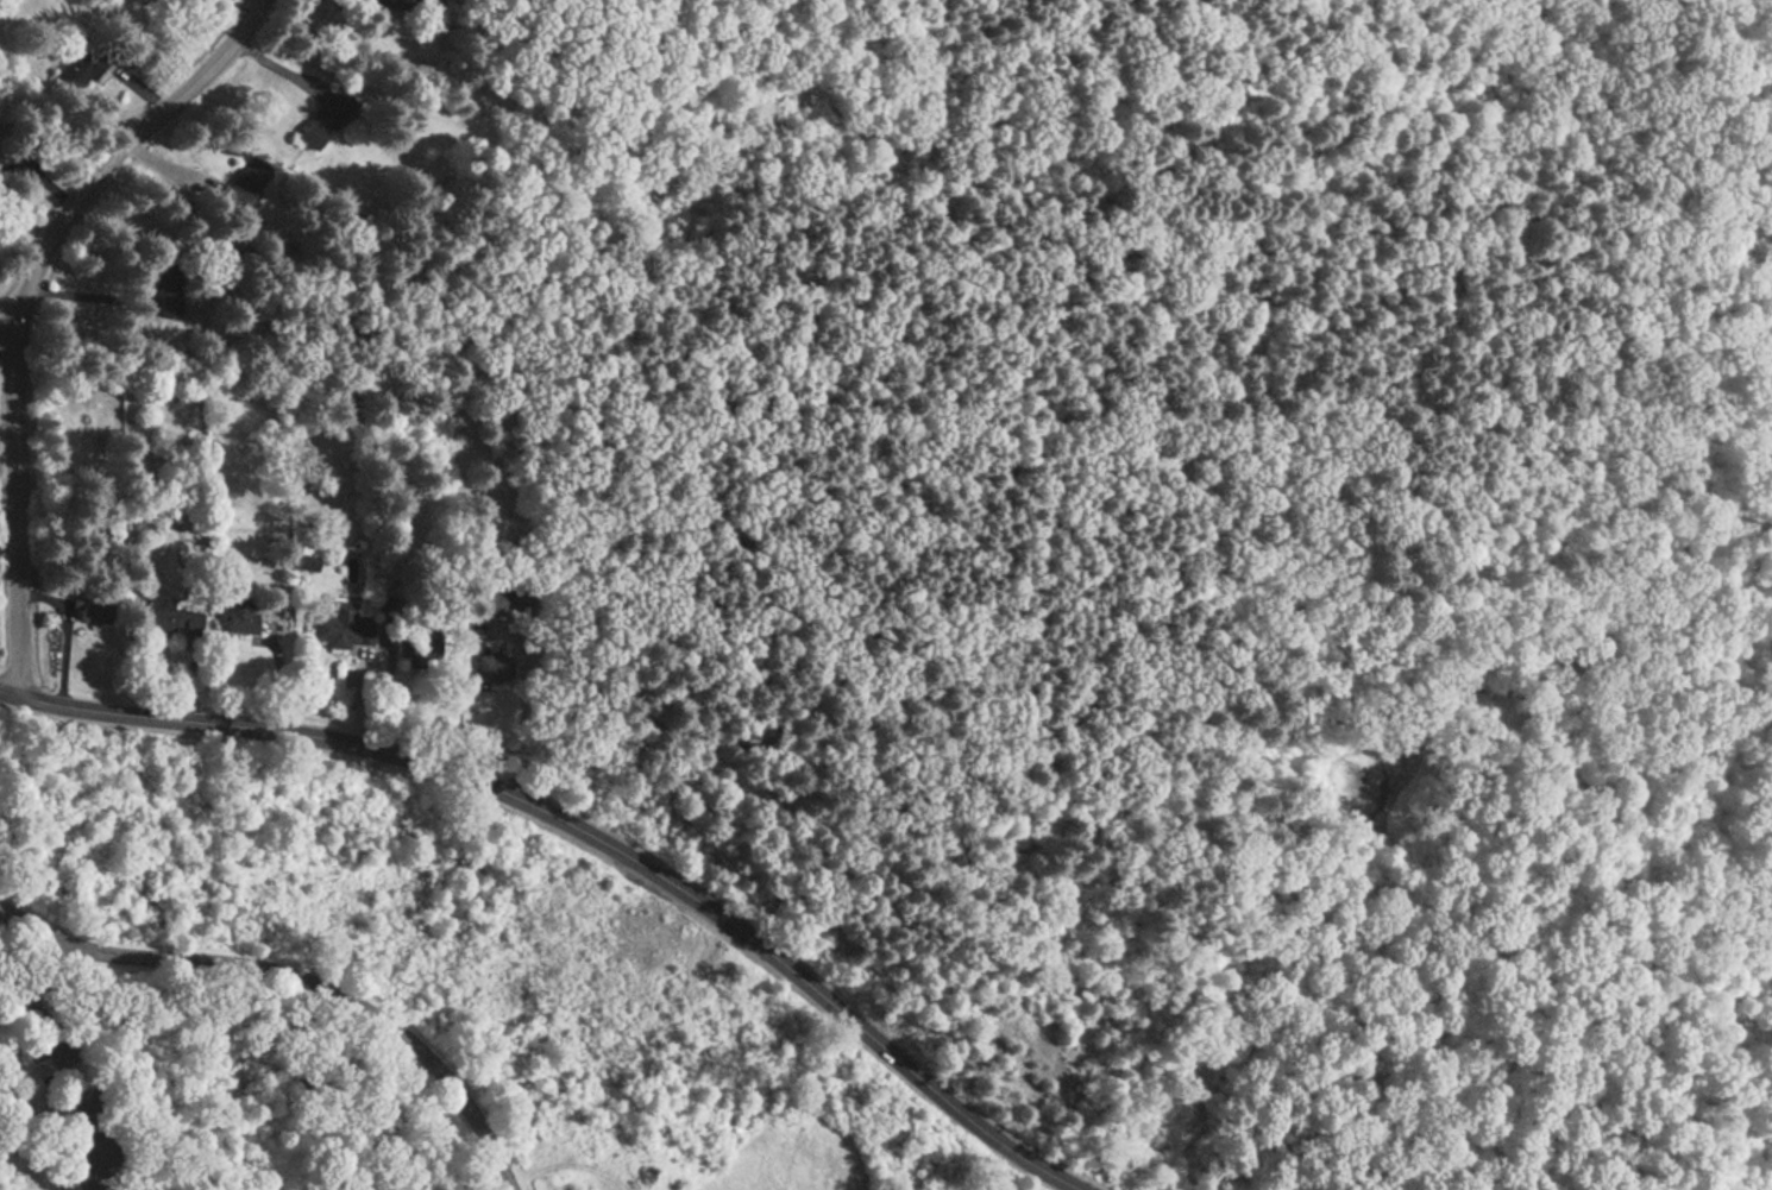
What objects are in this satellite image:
building: (385, 6)
road: (276, 69)
building: (78, 70)
building: (323, 118)
building: (0, 145)
road: (114, 156)
road: (164, 166)
building: (245, 183)
building: (166, 285)
road: (87, 298)
road: (4, 334)
road: (14, 517)
building: (304, 563)
building: (519, 593)
road: (46, 602)
building: (485, 602)
building: (90, 610)
building: (390, 612)
building: (239, 616)
building: (166, 617)
building: (341, 627)
road: (496, 627)
road: (259, 643)
building: (415, 648)
road: (199, 661)
building: (490, 667)
road: (276, 669)
road: (183, 679)
road: (350, 680)
road: (385, 691)
road: (356, 695)
road: (517, 703)
road: (587, 831)
road: (5, 909)
road: (5, 912)
road: (1223, 937)
road: (303, 980)
road: (17, 991)
park: (392, 995)
road: (61, 1065)
parking lot: (76, 1106)
road: (563, 1164)

